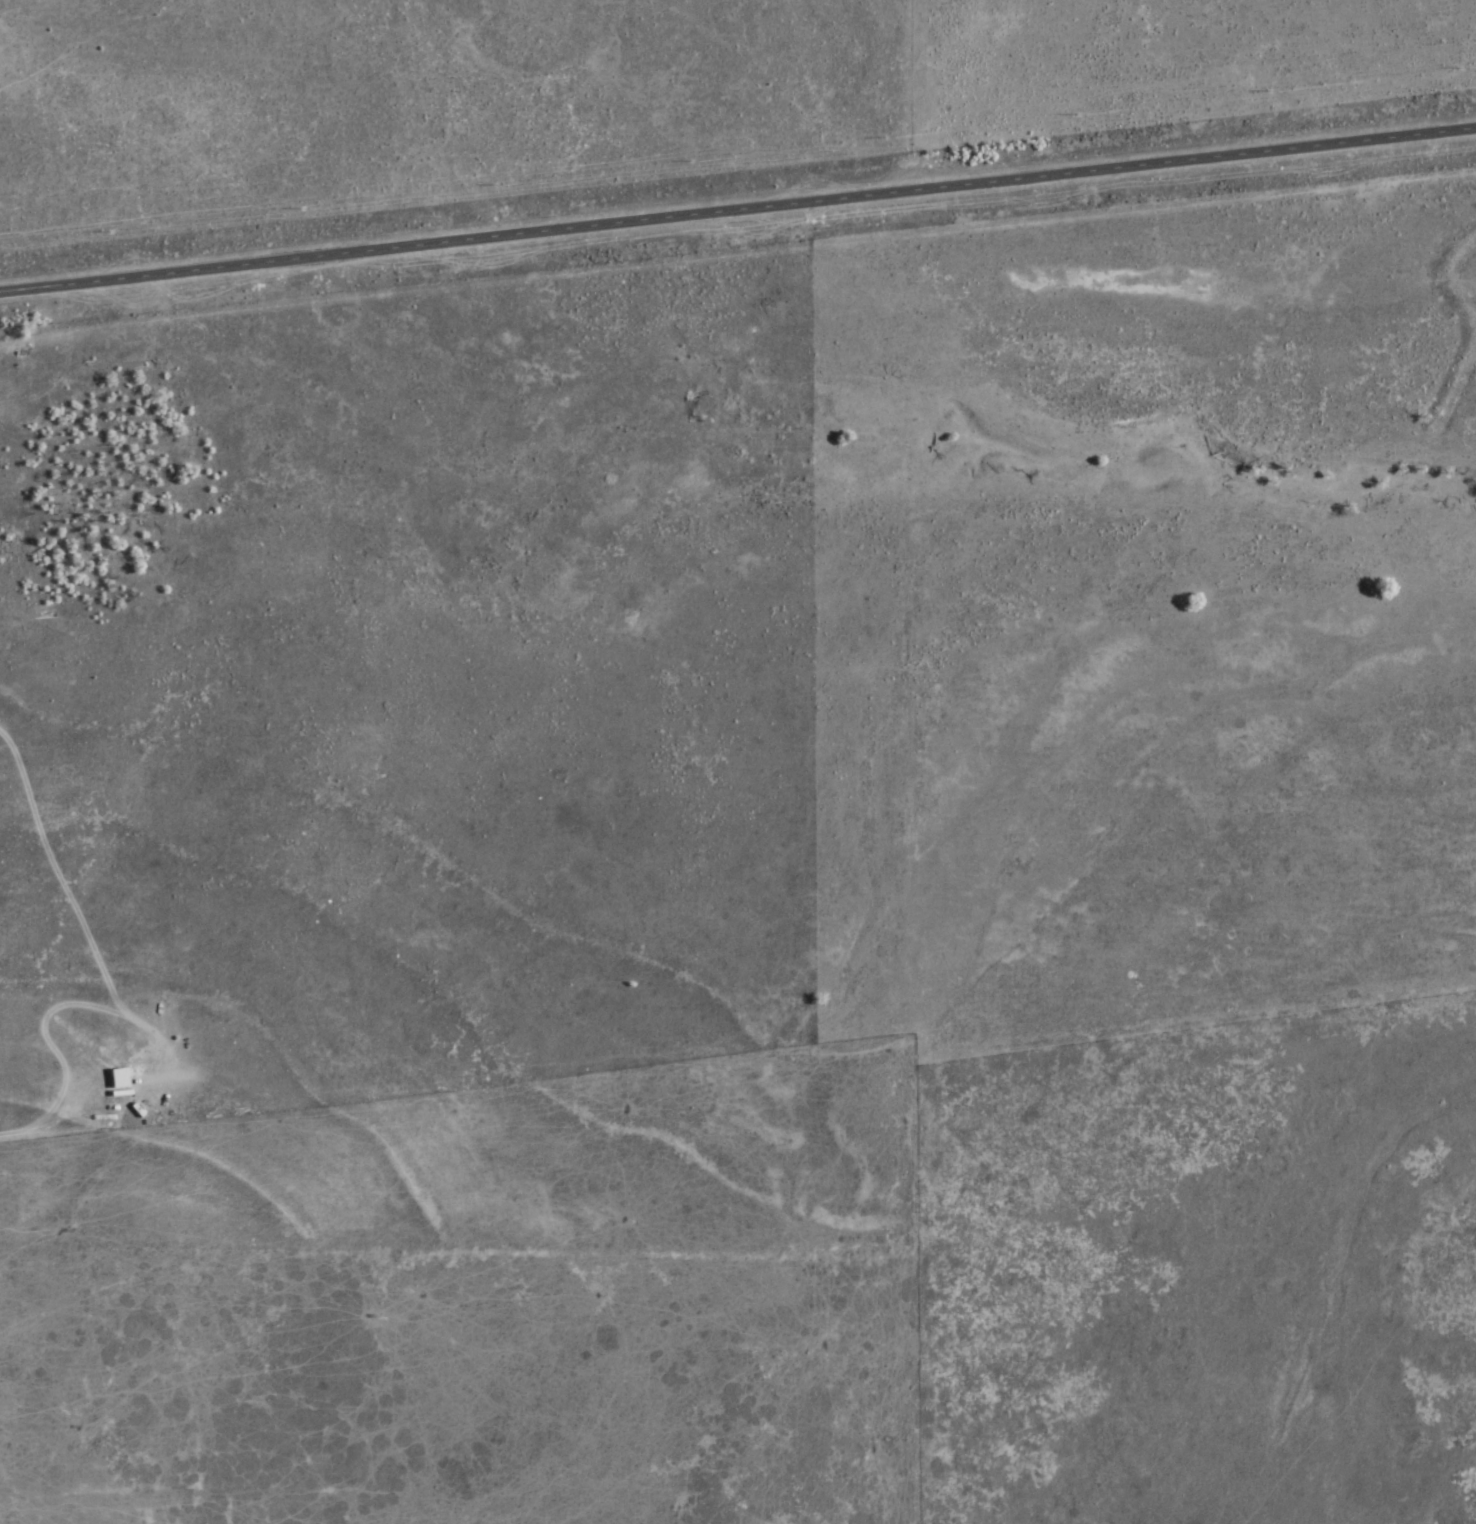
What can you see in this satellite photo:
road: (738, 217)

